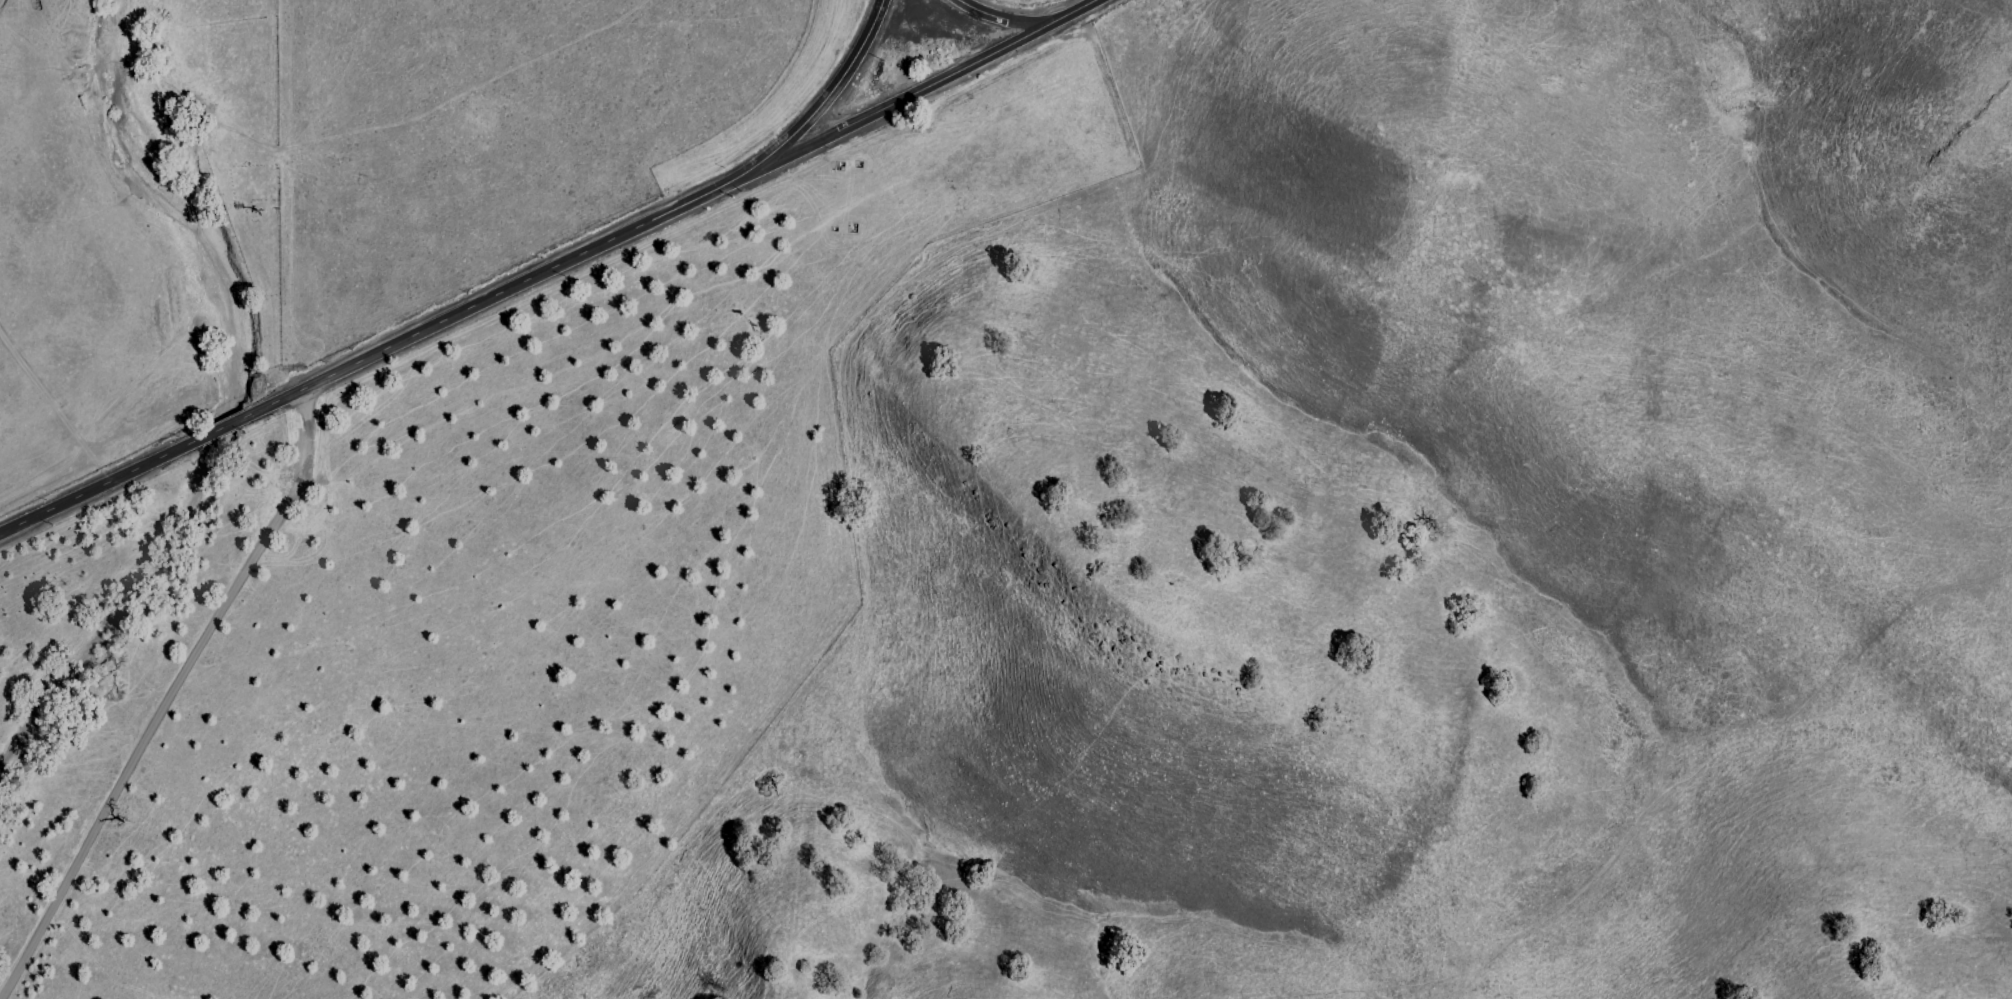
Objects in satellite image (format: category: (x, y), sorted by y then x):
road: (1077, 12)
road: (1004, 19)
road: (914, 95)
road: (478, 309)
park: (77, 352)
road: (57, 407)
road: (1527, 508)
park: (1479, 545)
road: (171, 700)

